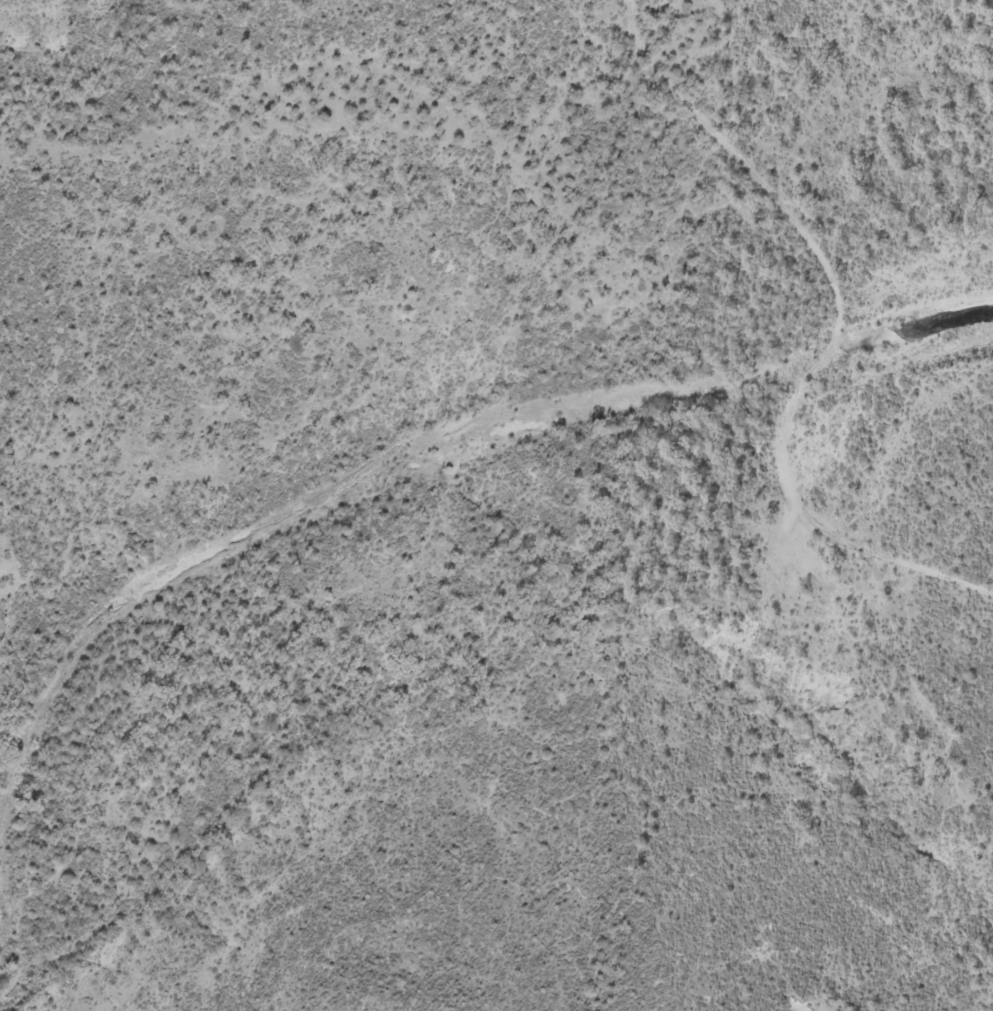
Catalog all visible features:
road: (637, 8)
road: (837, 333)

